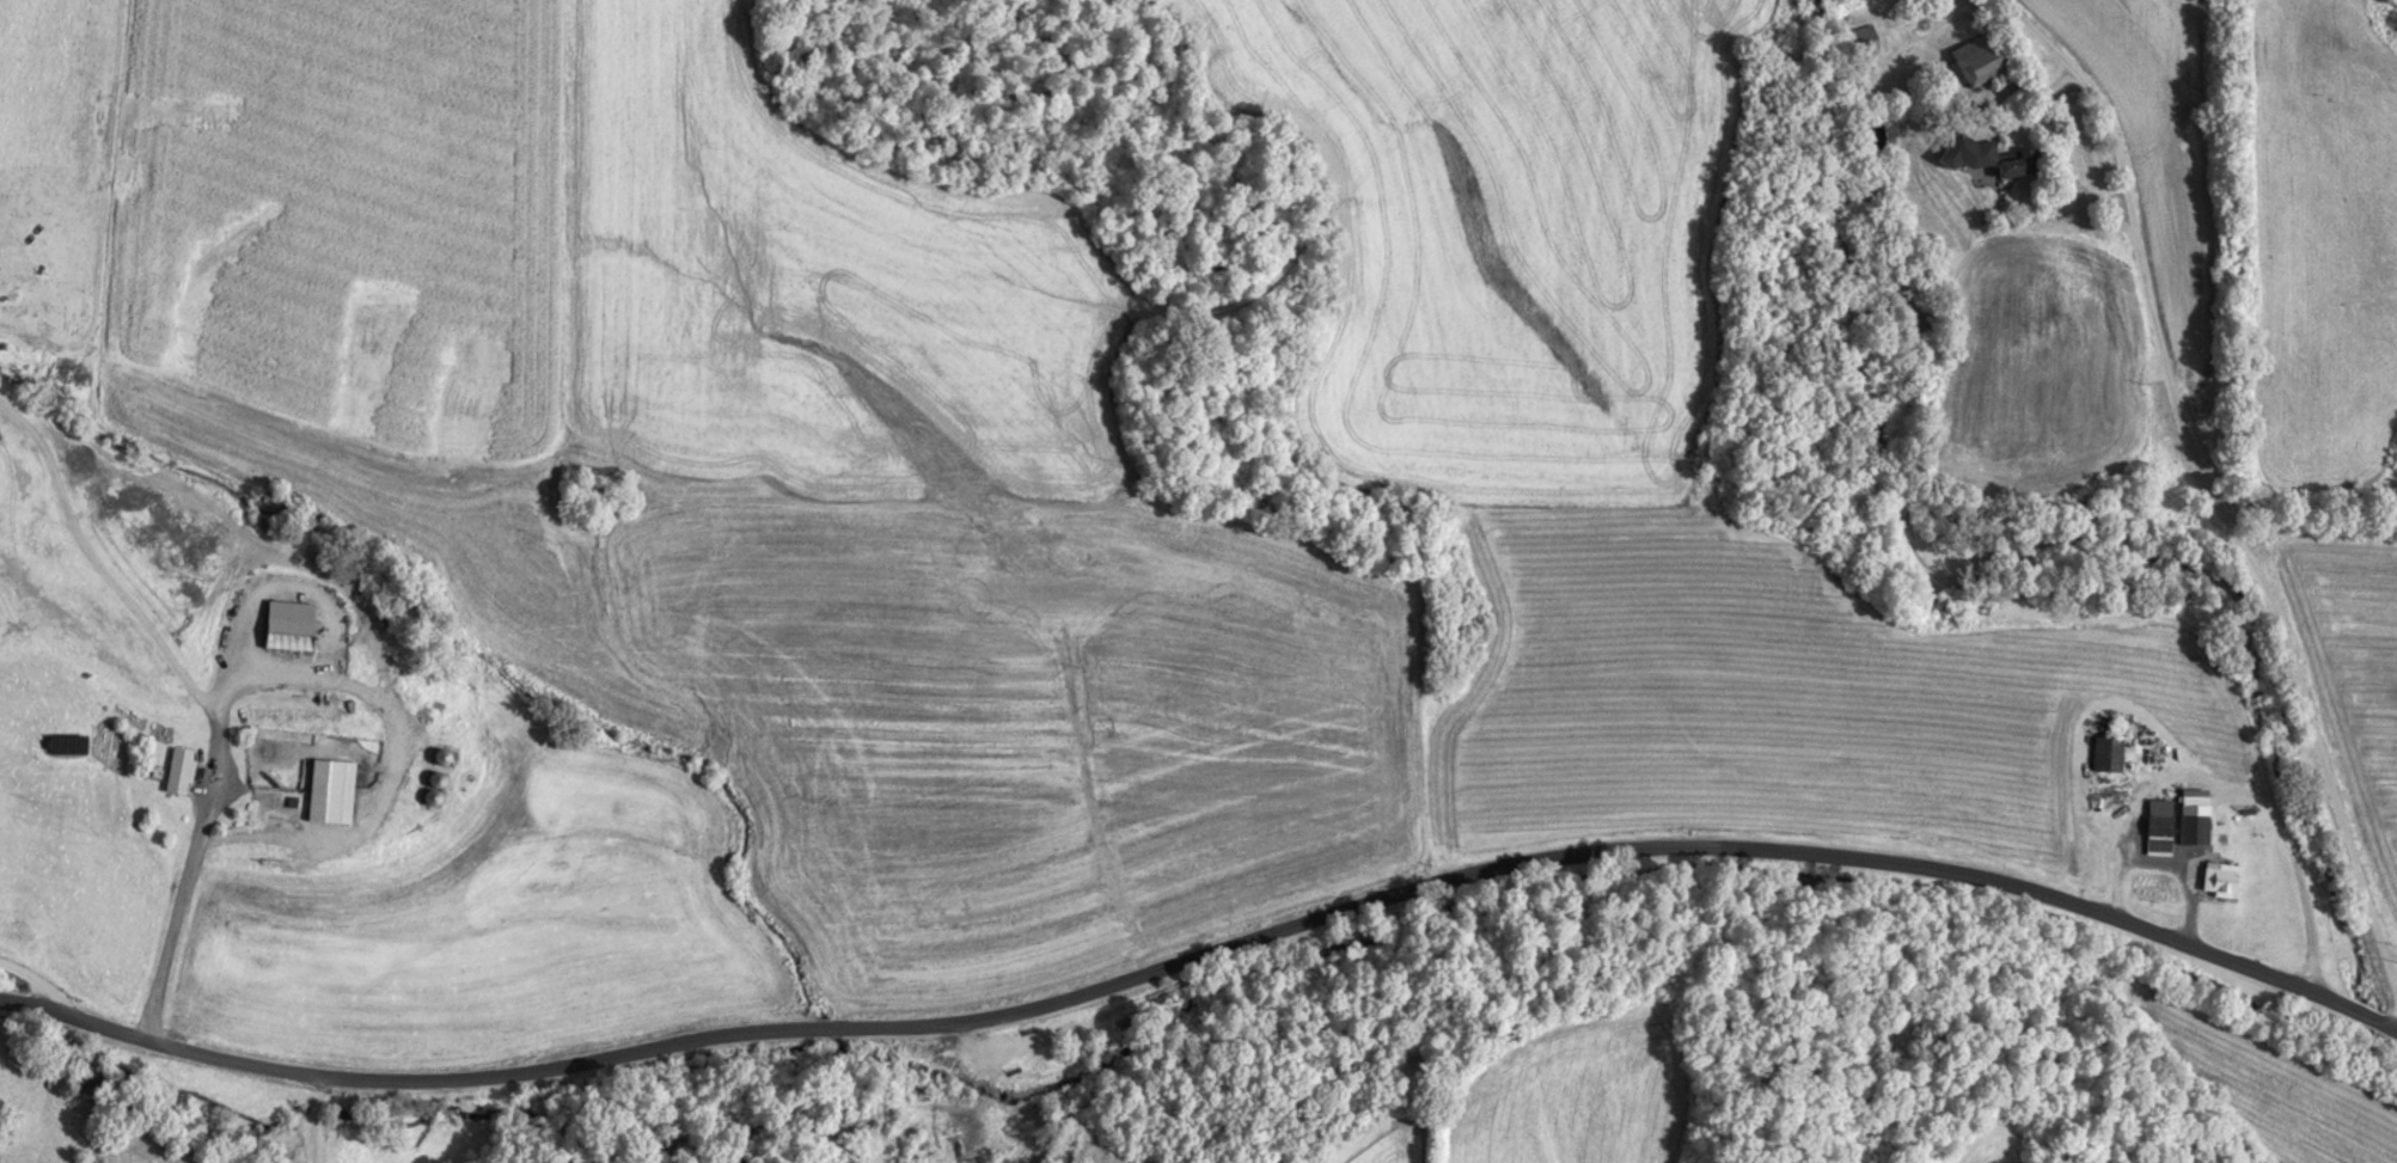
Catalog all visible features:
building: (1864, 43)
building: (1974, 60)
building: (1983, 157)
road: (2211, 485)
road: (97, 561)
building: (288, 626)
road: (280, 673)
building: (2108, 754)
building: (179, 771)
building: (432, 788)
building: (330, 791)
building: (2109, 807)
building: (2195, 830)
building: (2159, 833)
building: (2220, 881)
road: (1212, 942)
road: (32, 987)
building: (1032, 1037)
road: (316, 1118)

